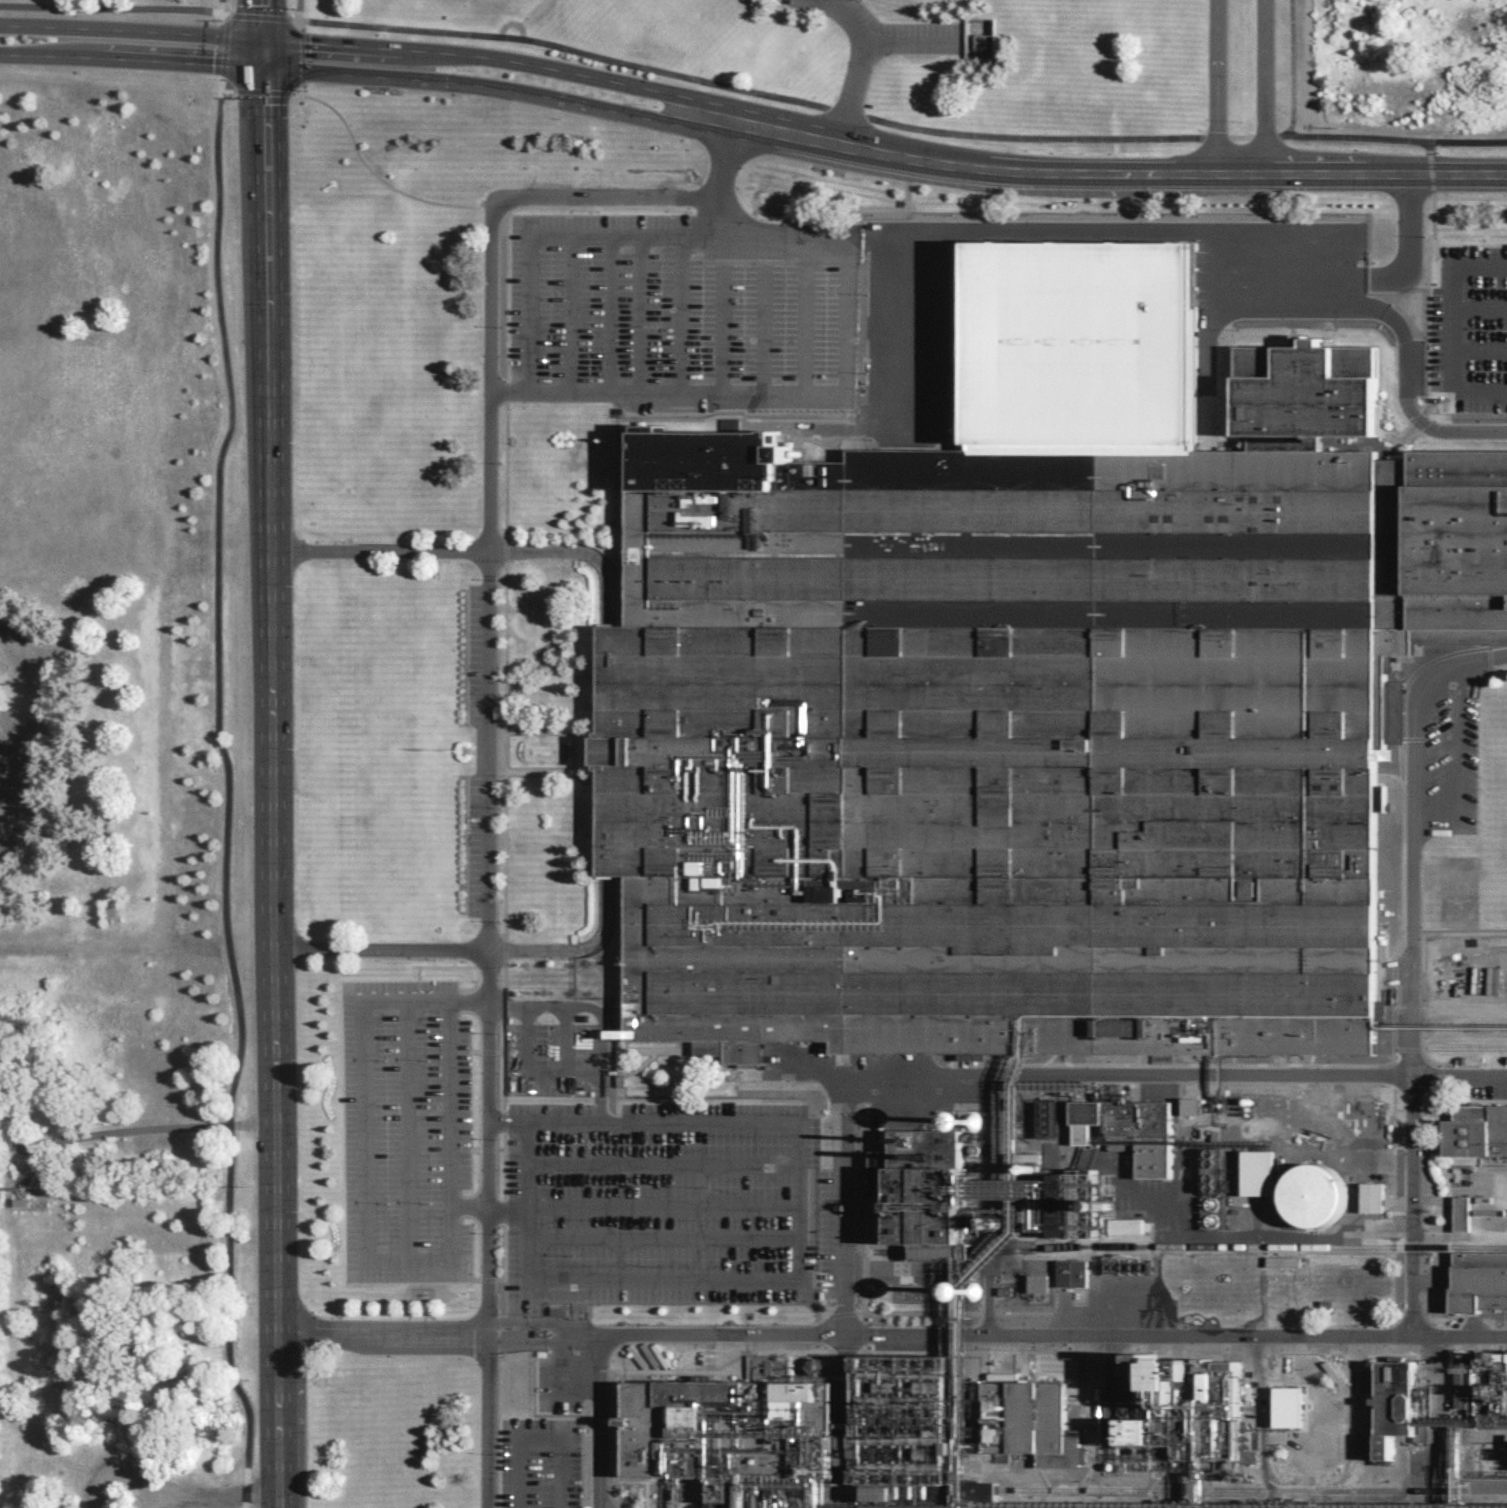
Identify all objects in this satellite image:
road: (225, 8)
road: (300, 11)
road: (528, 17)
road: (262, 20)
road: (131, 32)
traffic signals: (262, 42)
road: (905, 43)
road: (223, 47)
road: (262, 50)
road: (301, 57)
road: (500, 60)
road: (131, 61)
road: (857, 63)
road: (262, 64)
road: (1290, 69)
traffic signals: (262, 70)
road: (1266, 87)
road: (1217, 88)
road: (732, 89)
road: (220, 90)
road: (496, 90)
road: (265, 91)
road: (1470, 143)
road: (722, 163)
road: (1079, 176)
road: (1470, 176)
road: (461, 205)
road: (1433, 226)
road: (715, 234)
road: (1478, 306)
road: (1373, 308)
parking lot: (676, 313)
road: (570, 314)
road: (611, 314)
road: (639, 314)
road: (683, 314)
road: (1450, 328)
road: (527, 332)
building: (1081, 344)
road: (1478, 349)
building: (1308, 389)
road: (505, 390)
building: (729, 423)
road: (505, 471)
road: (505, 551)
road: (1410, 677)
building: (1021, 725)
road: (489, 745)
road: (504, 749)
road: (575, 749)
road: (603, 750)
road: (1457, 769)
road: (269, 789)
road: (227, 800)
road: (1402, 870)
road: (1421, 960)
road: (481, 965)
road: (442, 966)
road: (1410, 972)
road: (504, 978)
road: (418, 984)
road: (473, 984)
road: (504, 1005)
road: (512, 1006)
road: (1395, 1008)
road: (565, 1021)
road: (599, 1024)
railway: (1445, 1046)
road: (458, 1050)
road: (473, 1050)
road: (486, 1050)
road: (499, 1051)
road: (503, 1063)
road: (1393, 1074)
road: (1440, 1074)
road: (1180, 1078)
road: (843, 1092)
road: (600, 1097)
road: (503, 1120)
water tower: (971, 1122)
road: (364, 1129)
road: (406, 1129)
road: (448, 1129)
building: (1477, 1130)
road: (130, 1135)
road: (489, 1148)
road: (459, 1150)
road: (473, 1150)
parking lot: (554, 1159)
road: (663, 1163)
building: (924, 1163)
road: (503, 1165)
building: (1258, 1172)
building: (1314, 1195)
building: (1372, 1196)
road: (664, 1206)
road: (865, 1206)
road: (1393, 1206)
road: (487, 1209)
road: (503, 1211)
building: (1462, 1213)
road: (664, 1238)
railway: (1192, 1246)
road: (406, 1256)
building: (1284, 1260)
road: (503, 1266)
building: (1072, 1272)
road: (802, 1279)
building: (1479, 1280)
building: (1038, 1282)
building: (971, 1290)
road: (847, 1293)
water tower: (974, 1293)
road: (923, 1312)
road: (988, 1312)
road: (1023, 1312)
road: (1413, 1325)
road: (1393, 1335)
road: (1051, 1336)
road: (437, 1337)
road: (830, 1346)
building: (1403, 1406)
building: (1178, 1411)
road: (597, 1424)
building: (836, 1432)
road: (538, 1440)
railway: (1143, 1487)
road: (234, 1498)
building: (1191, 1504)

